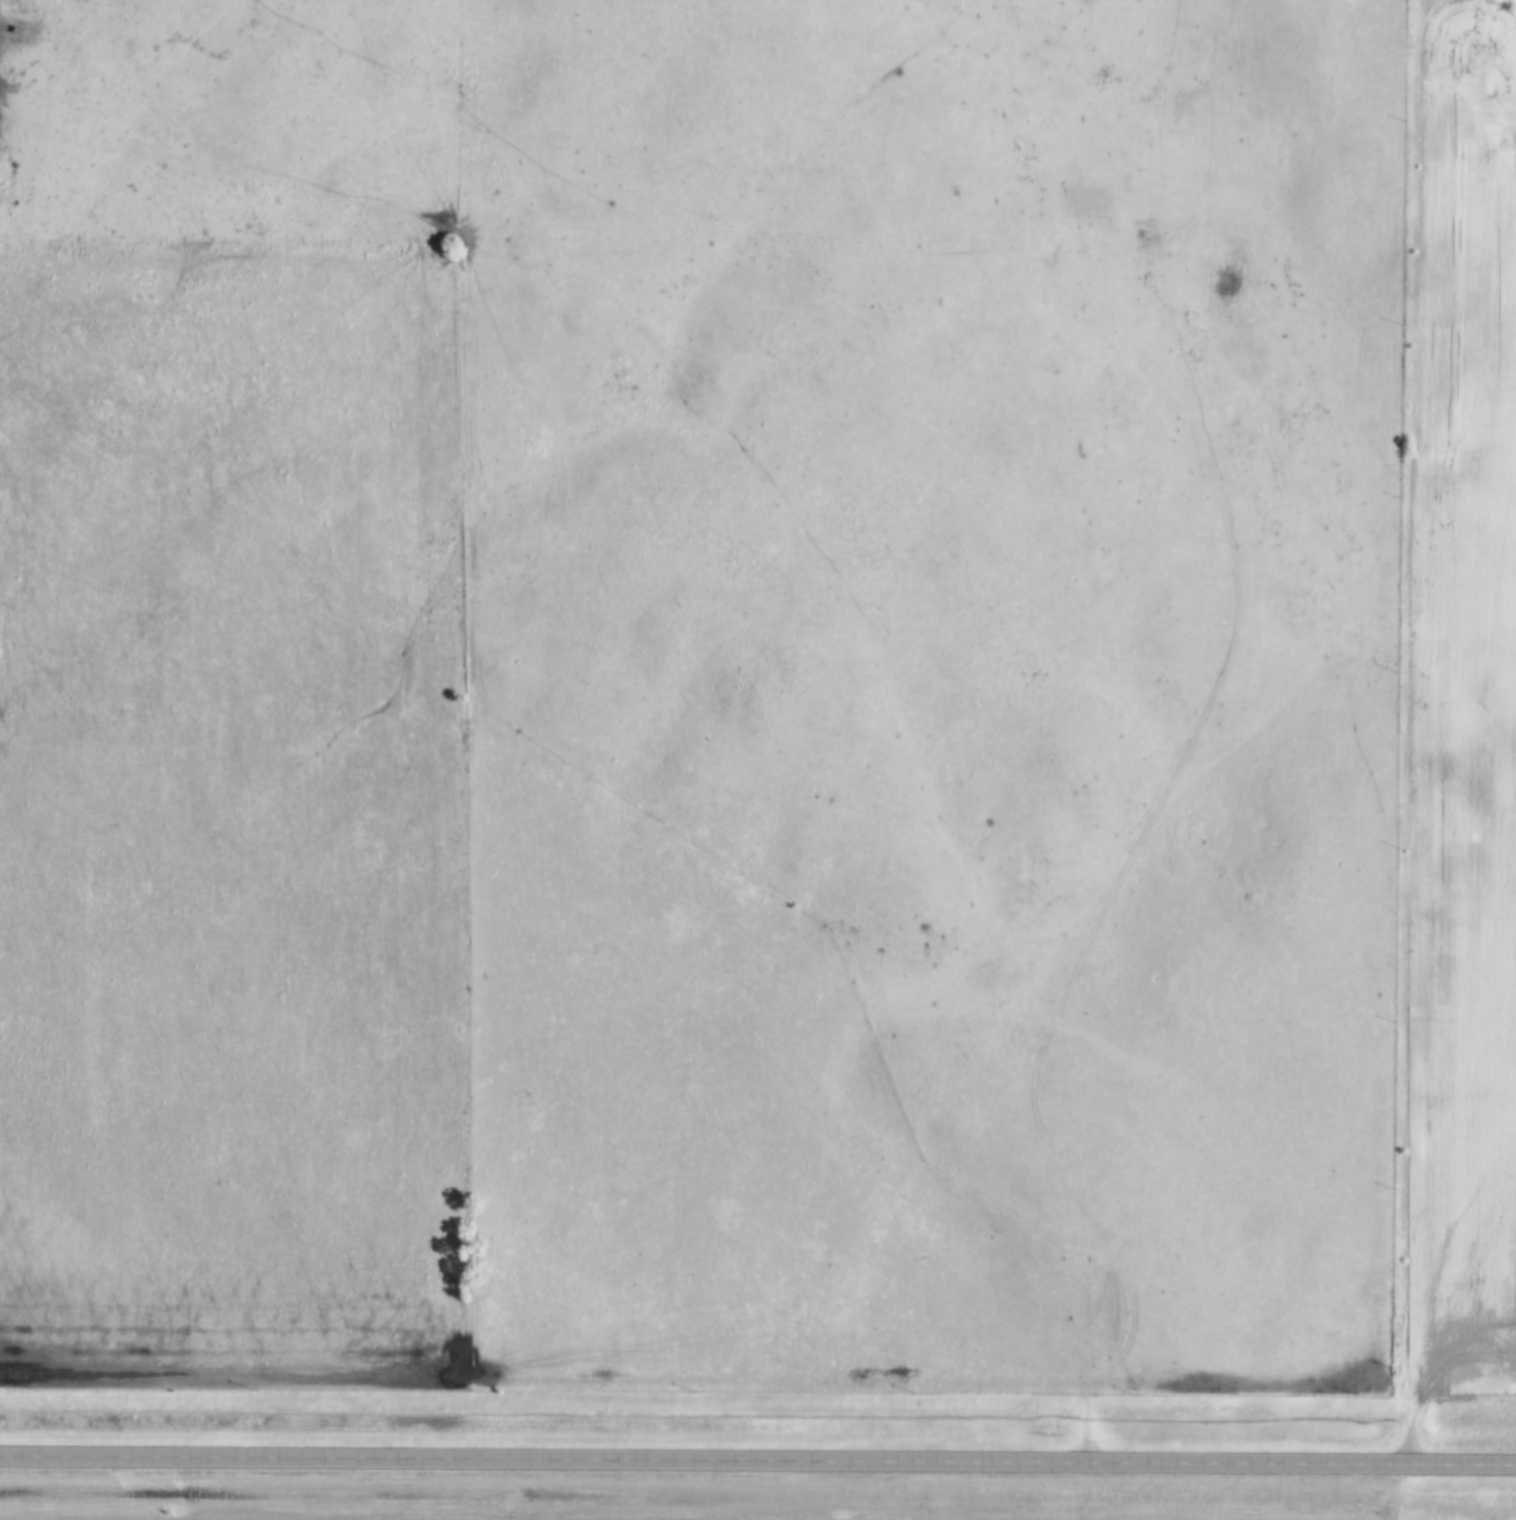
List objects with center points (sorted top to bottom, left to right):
road: (758, 1463)

